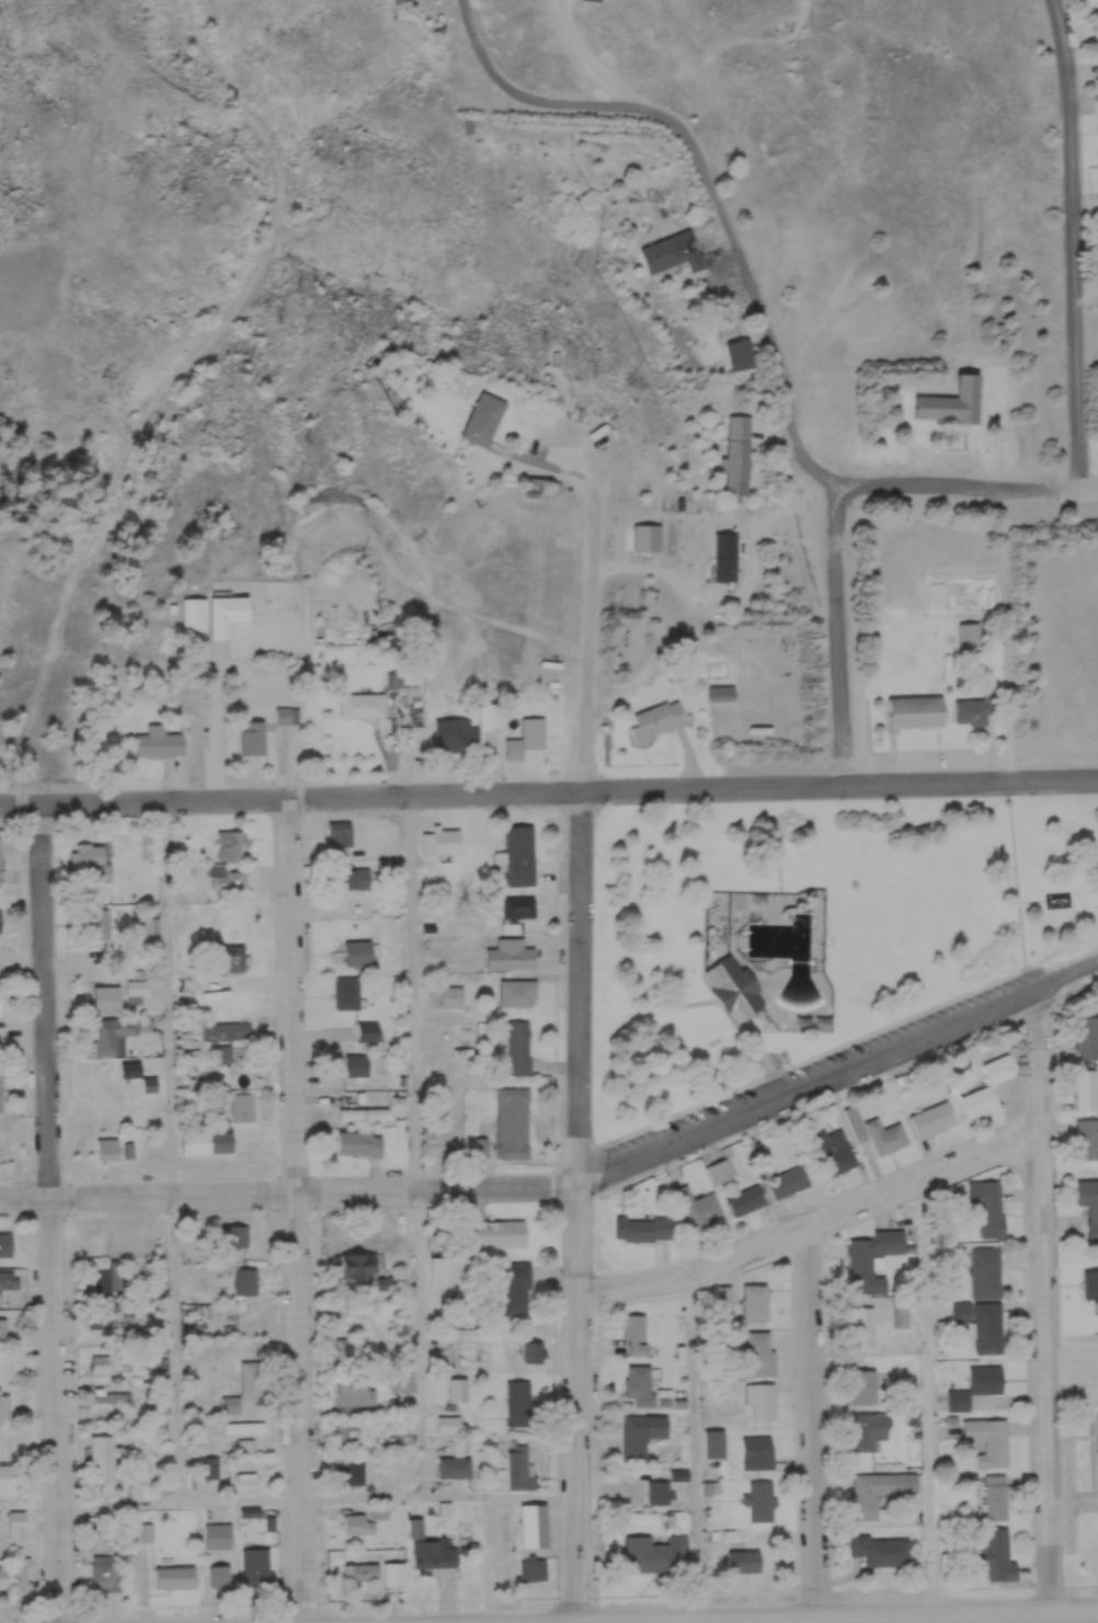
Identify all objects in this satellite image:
building: (394, 1)
road: (709, 182)
building: (680, 245)
road: (1068, 245)
building: (947, 396)
building: (480, 418)
building: (737, 447)
road: (557, 464)
road: (969, 492)
building: (224, 613)
building: (190, 614)
building: (968, 631)
road: (844, 636)
road: (1000, 637)
building: (719, 693)
building: (359, 704)
building: (969, 707)
building: (912, 709)
building: (285, 715)
building: (655, 719)
building: (464, 725)
road: (215, 729)
building: (525, 733)
building: (252, 736)
building: (157, 742)
road: (549, 792)
building: (338, 828)
building: (439, 838)
building: (229, 845)
building: (518, 855)
building: (0, 860)
building: (91, 860)
building: (352, 875)
building: (225, 878)
building: (517, 908)
building: (99, 923)
building: (151, 927)
park: (816, 934)
building: (355, 952)
building: (508, 955)
building: (231, 958)
building: (345, 986)
building: (732, 987)
building: (137, 991)
building: (516, 992)
building: (450, 996)
building: (104, 998)
building: (3, 999)
building: (226, 1029)
building: (367, 1029)
building: (117, 1032)
building: (1087, 1036)
road: (863, 1043)
building: (519, 1048)
building: (224, 1053)
road: (587, 1063)
building: (357, 1064)
road: (842, 1073)
building: (987, 1086)
building: (3, 1087)
building: (1087, 1089)
building: (364, 1111)
building: (930, 1120)
building: (511, 1122)
building: (221, 1128)
building: (876, 1131)
building: (1087, 1139)
building: (358, 1142)
road: (421, 1145)
building: (107, 1146)
road: (174, 1151)
building: (833, 1151)
building: (721, 1168)
building: (789, 1180)
road: (293, 1191)
building: (745, 1199)
building: (698, 1204)
building: (1088, 1204)
building: (987, 1205)
road: (297, 1210)
road: (56, 1212)
road: (815, 1221)
building: (638, 1228)
building: (496, 1232)
building: (235, 1233)
building: (4, 1243)
building: (872, 1255)
building: (355, 1262)
building: (447, 1266)
building: (984, 1271)
building: (114, 1275)
building: (164, 1277)
building: (9, 1279)
building: (244, 1279)
building: (1090, 1282)
building: (515, 1287)
building: (725, 1293)
road: (1045, 1300)
building: (755, 1301)
building: (902, 1312)
building: (114, 1319)
building: (981, 1322)
building: (863, 1325)
building: (4, 1326)
building: (636, 1333)
building: (353, 1347)
building: (531, 1349)
building: (759, 1351)
building: (102, 1361)
building: (157, 1361)
building: (5, 1364)
road: (1072, 1373)
building: (398, 1381)
building: (638, 1384)
building: (865, 1384)
building: (976, 1387)
building: (353, 1391)
building: (112, 1395)
road: (926, 1397)
building: (762, 1399)
building: (518, 1401)
building: (230, 1403)
building: (5, 1404)
road: (813, 1420)
building: (448, 1422)
building: (242, 1426)
building: (348, 1429)
building: (867, 1429)
building: (640, 1432)
building: (988, 1439)
building: (714, 1440)
building: (1096, 1440)
road: (698, 1447)
building: (758, 1450)
building: (103, 1456)
building: (213, 1463)
building: (454, 1464)
building: (521, 1465)
building: (351, 1467)
building: (8, 1476)
building: (879, 1488)
building: (660, 1489)
building: (996, 1494)
road: (289, 1498)
building: (760, 1498)
building: (356, 1522)
building: (531, 1522)
building: (16, 1524)
building: (148, 1531)
building: (218, 1533)
building: (881, 1547)
building: (655, 1551)
building: (433, 1552)
building: (999, 1554)
building: (743, 1558)
building: (255, 1565)
building: (499, 1565)
building: (537, 1567)
building: (361, 1570)
building: (101, 1571)
building: (392, 1573)
building: (23, 1574)
building: (219, 1575)
building: (174, 1576)
road: (836, 1616)

